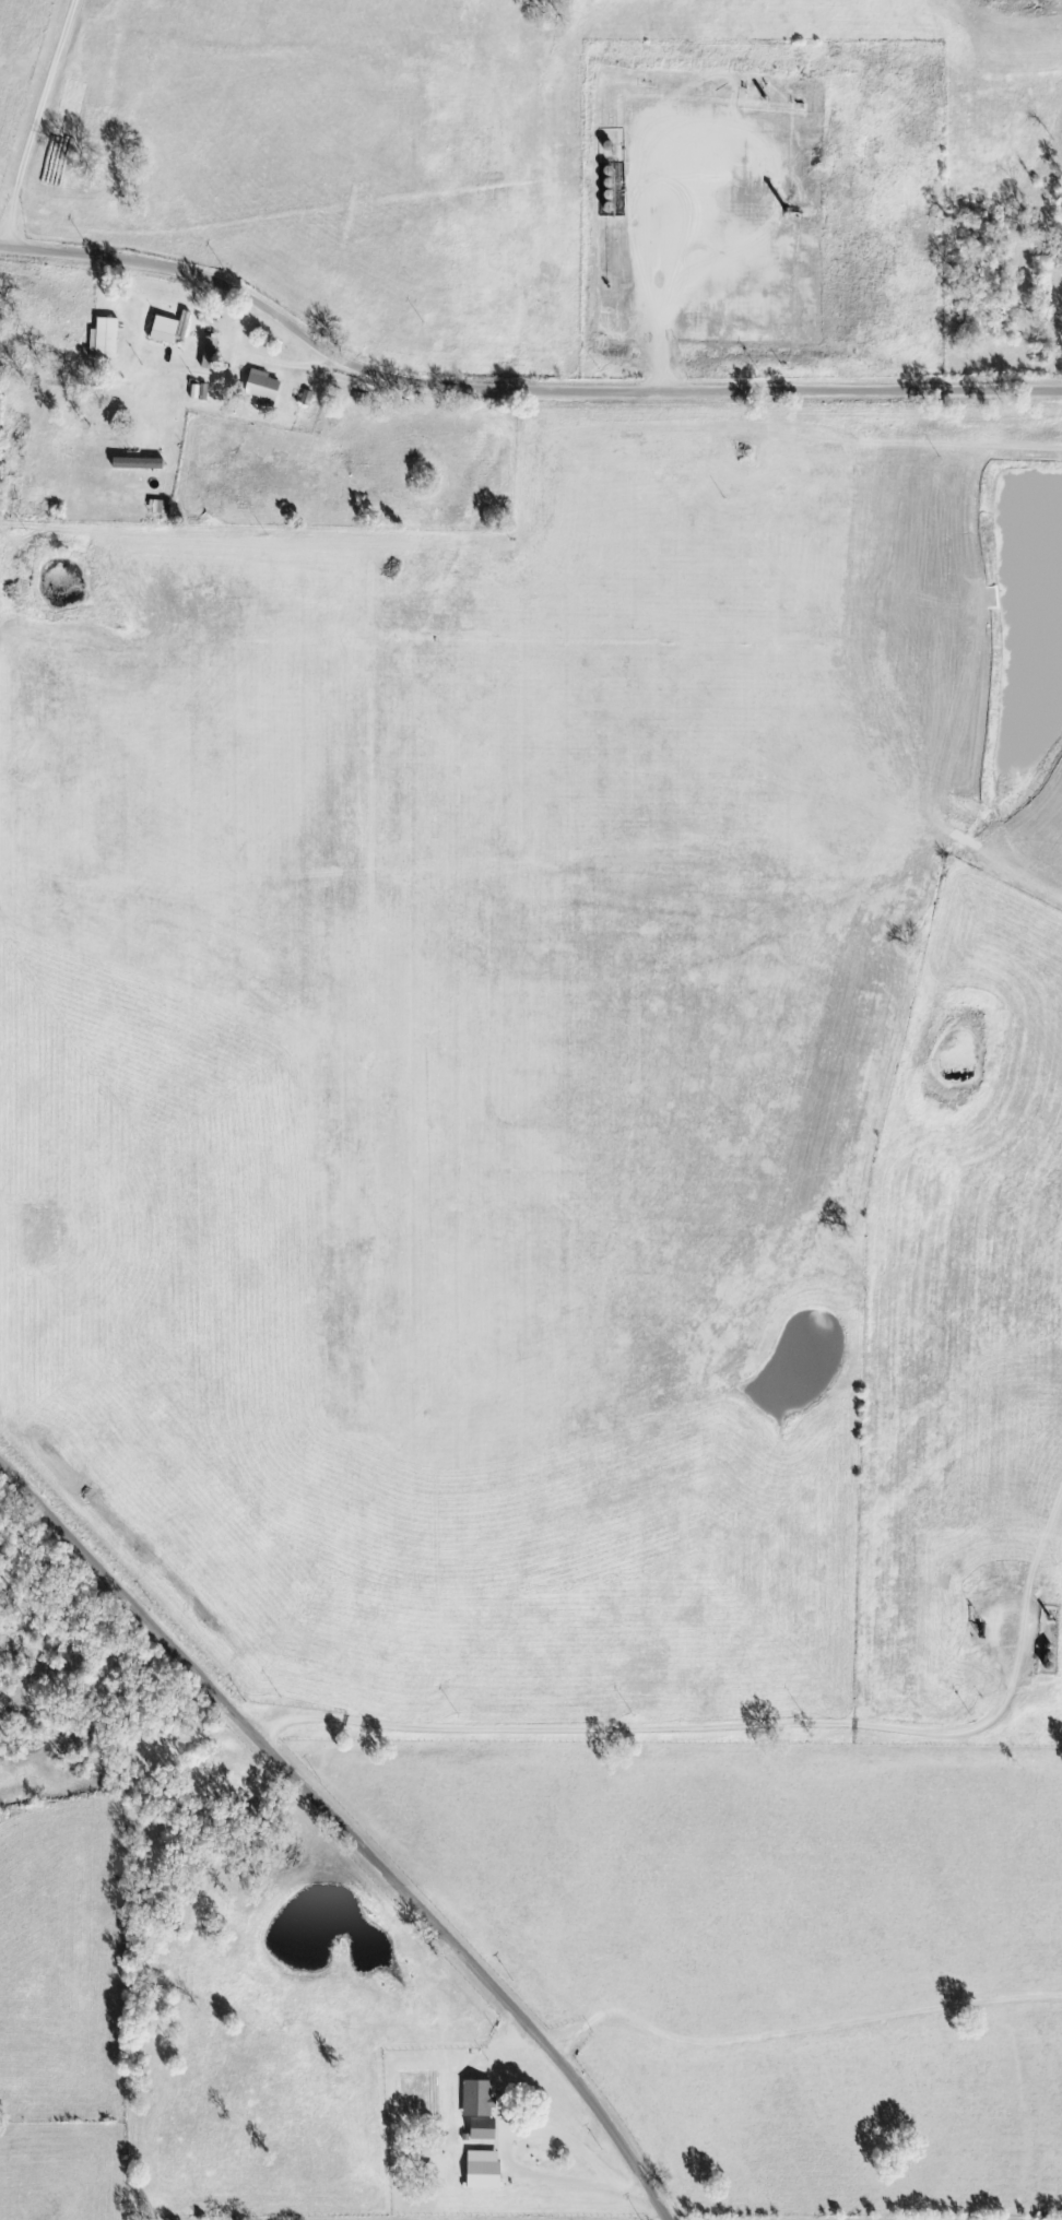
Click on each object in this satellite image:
building: (168, 331)
building: (106, 341)
building: (267, 388)
road: (516, 388)
building: (142, 465)
building: (162, 509)
road: (350, 1828)
building: (476, 2109)
building: (480, 2171)

